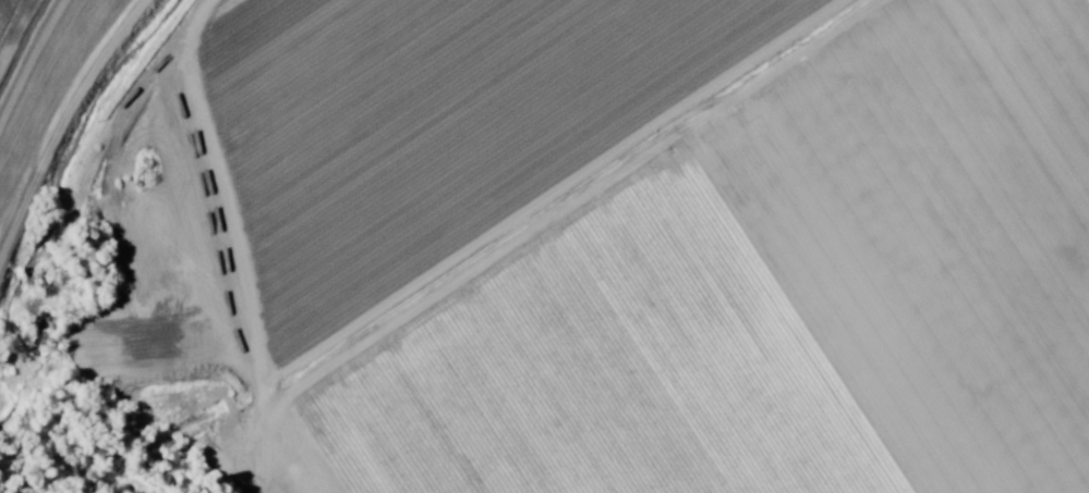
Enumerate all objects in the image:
crop: (13, 26)
crop: (682, 239)
road: (259, 242)

